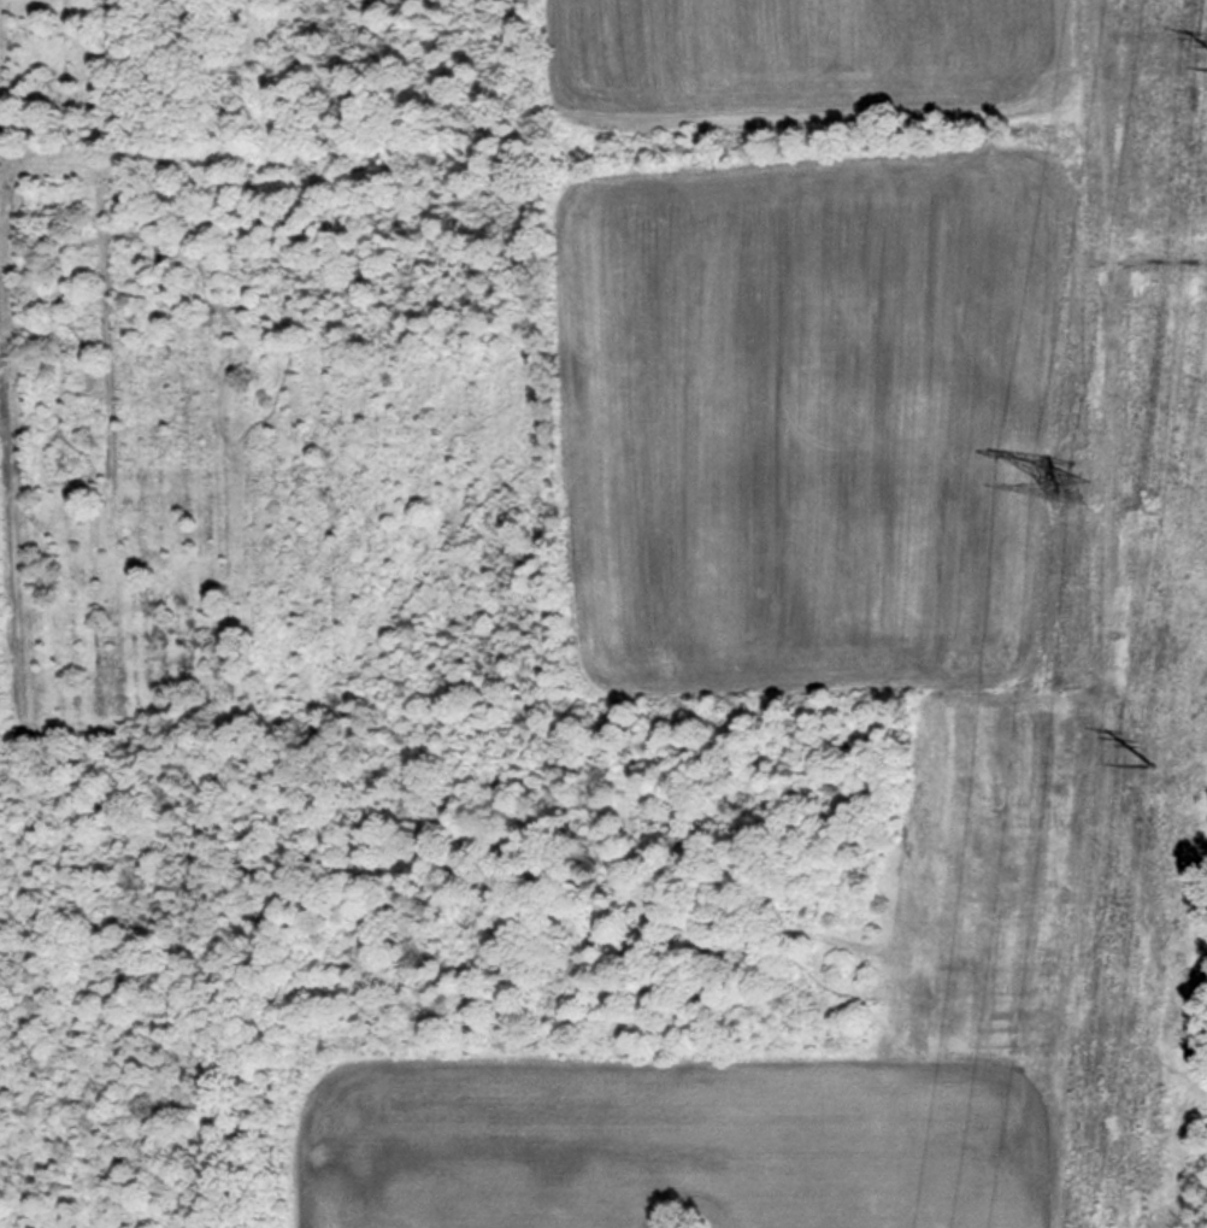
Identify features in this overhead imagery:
power tower: (1061, 489)
power tower: (1146, 751)

